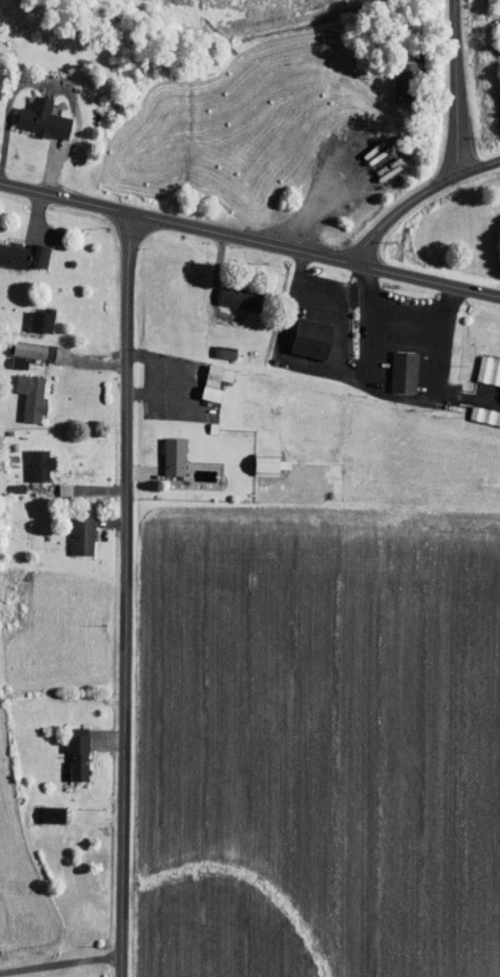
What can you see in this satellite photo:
building: (397, 74)
road: (460, 87)
building: (33, 113)
road: (413, 198)
road: (67, 201)
road: (243, 242)
building: (19, 250)
road: (425, 282)
building: (228, 291)
building: (33, 314)
building: (304, 333)
building: (18, 347)
building: (484, 365)
building: (393, 366)
building: (207, 376)
building: (22, 392)
building: (480, 410)
building: (165, 450)
building: (260, 458)
building: (30, 459)
building: (73, 531)
road: (125, 597)
building: (69, 747)
building: (42, 809)
road: (58, 960)

